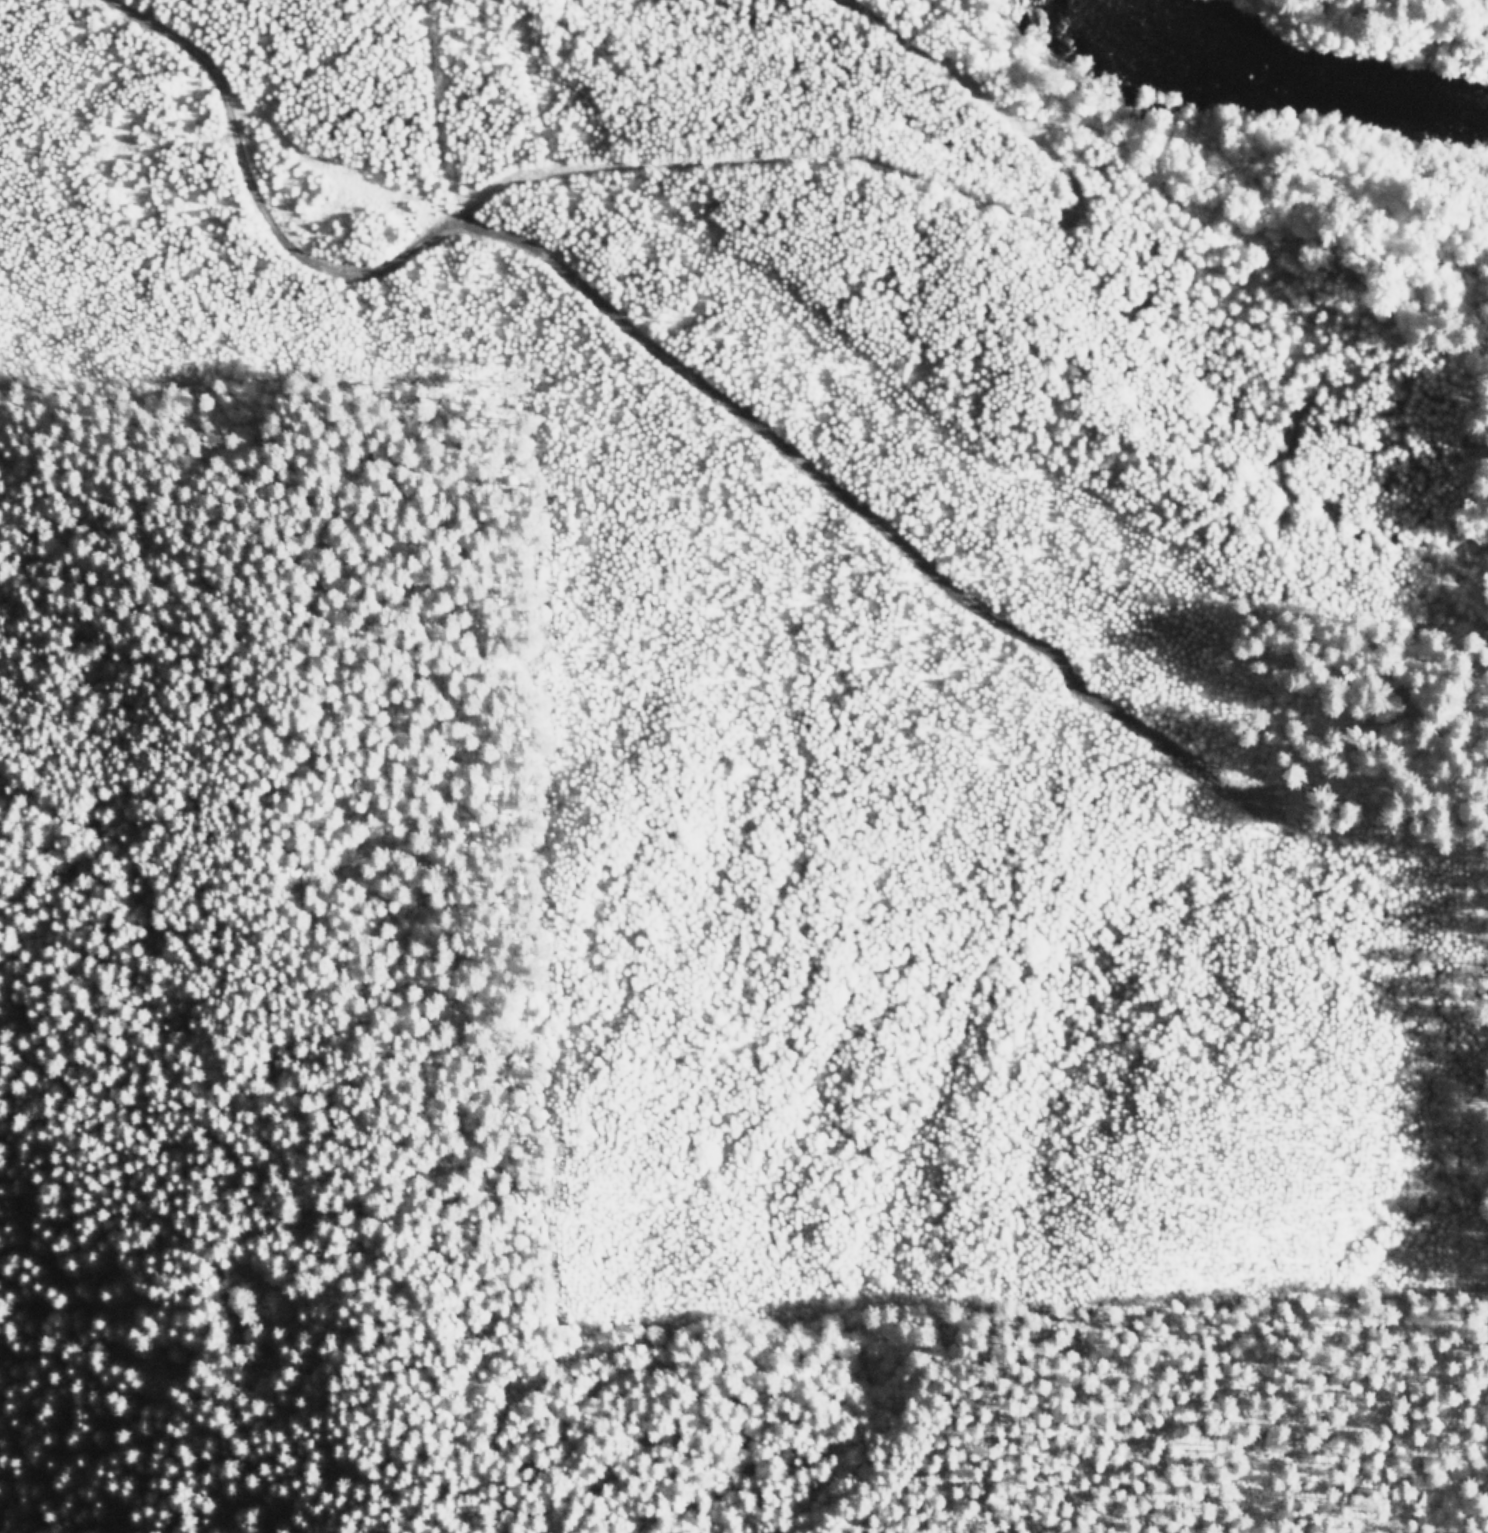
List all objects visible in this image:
river: (1286, 80)

